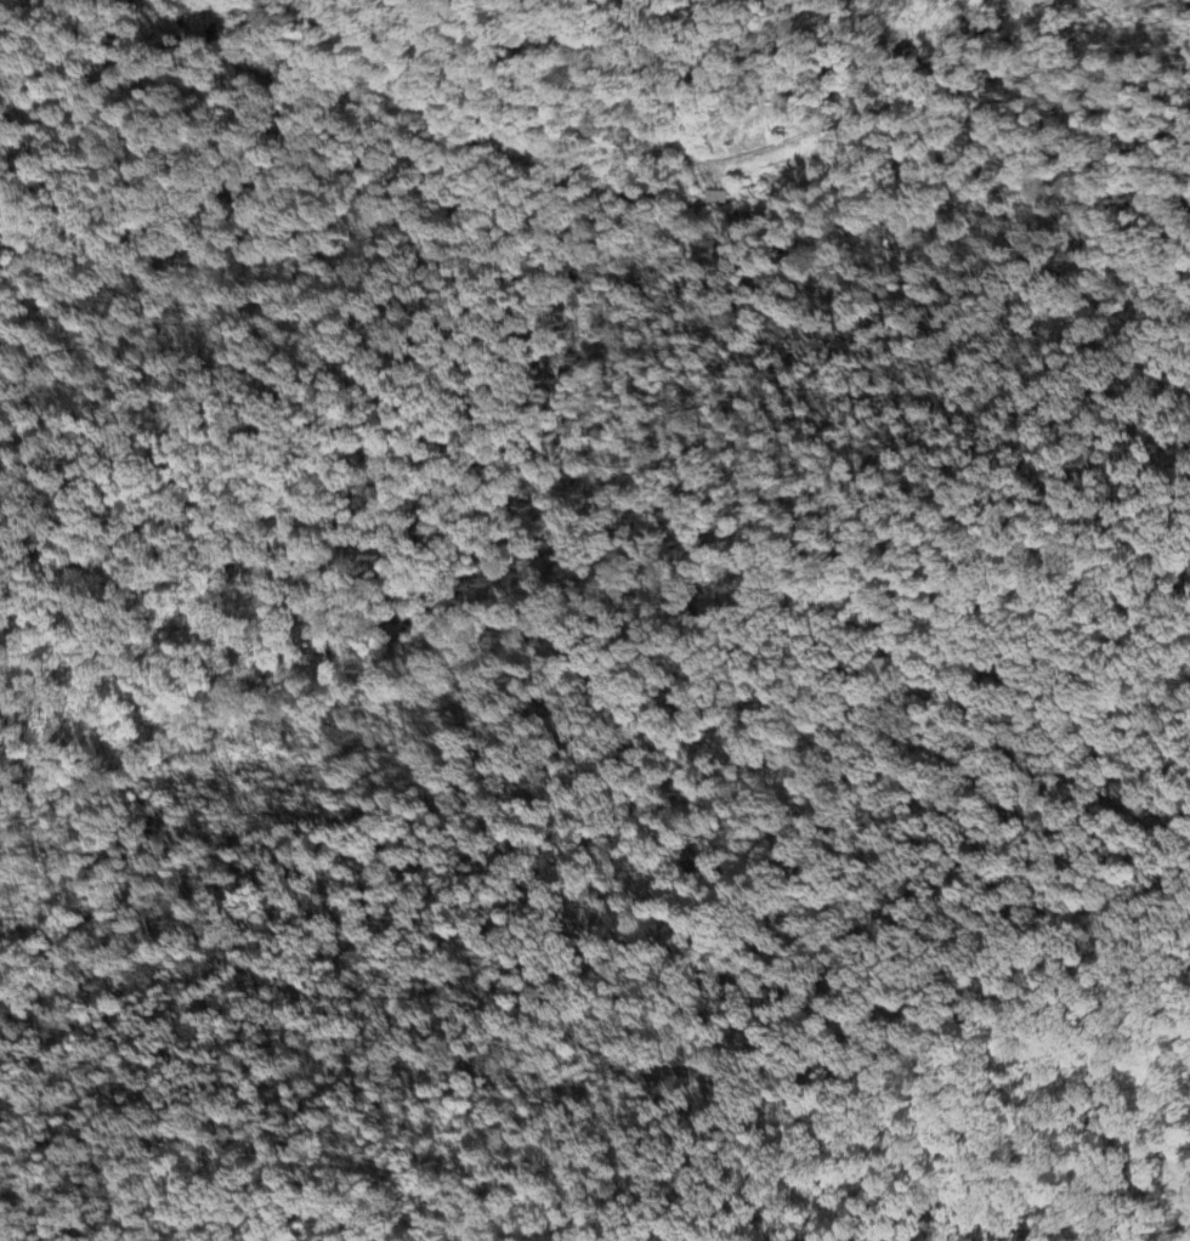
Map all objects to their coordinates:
road: (999, 1016)

